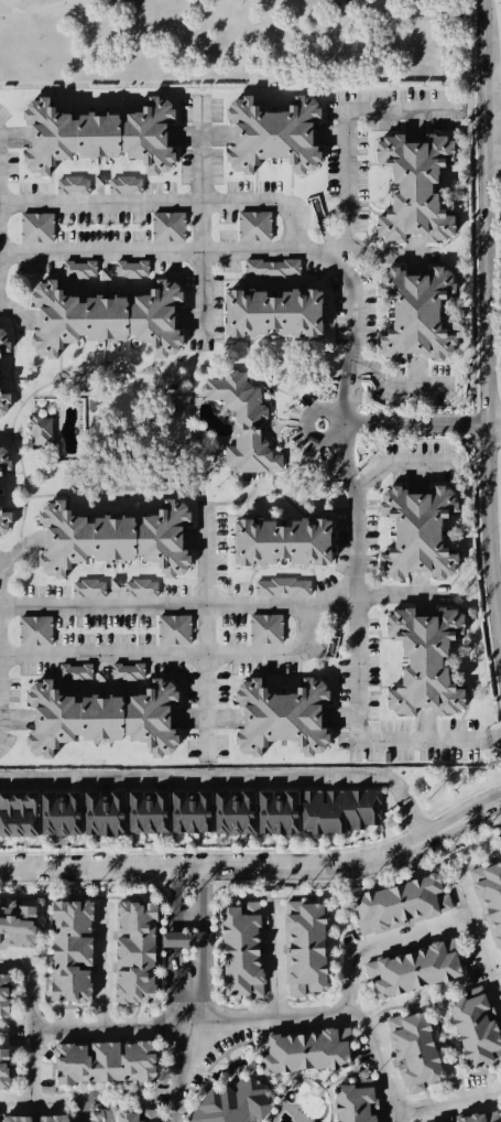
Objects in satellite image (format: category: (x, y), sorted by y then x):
road: (43, 10)
road: (314, 18)
road: (417, 18)
road: (482, 29)
park: (231, 44)
road: (483, 108)
road: (492, 128)
building: (273, 134)
building: (98, 136)
road: (492, 157)
building: (73, 185)
building: (124, 185)
building: (414, 187)
road: (165, 204)
road: (200, 222)
building: (167, 226)
building: (253, 226)
building: (36, 227)
road: (306, 249)
building: (131, 268)
building: (271, 268)
building: (79, 269)
road: (4, 299)
road: (13, 308)
building: (273, 312)
building: (415, 313)
building: (107, 319)
building: (3, 341)
road: (392, 385)
road: (486, 389)
building: (3, 402)
building: (243, 422)
road: (493, 424)
road: (363, 425)
building: (40, 431)
building: (4, 461)
road: (397, 462)
building: (4, 520)
building: (417, 533)
building: (113, 538)
building: (282, 542)
road: (17, 554)
road: (356, 557)
road: (2, 565)
building: (282, 586)
building: (88, 587)
building: (140, 587)
road: (399, 597)
road: (178, 602)
building: (265, 628)
building: (174, 629)
building: (34, 630)
road: (207, 633)
road: (177, 654)
building: (424, 661)
building: (127, 671)
building: (75, 672)
building: (281, 716)
building: (101, 718)
road: (207, 781)
building: (339, 810)
building: (148, 812)
building: (192, 812)
building: (235, 812)
building: (277, 812)
building: (19, 813)
building: (84, 813)
road: (461, 816)
road: (414, 818)
road: (216, 871)
road: (175, 900)
road: (205, 900)
road: (174, 939)
road: (206, 939)
road: (478, 939)
road: (104, 967)
road: (274, 968)
building: (254, 994)
road: (271, 1019)
road: (187, 1025)
road: (26, 1027)
road: (380, 1058)
road: (179, 1074)
road: (447, 1103)

